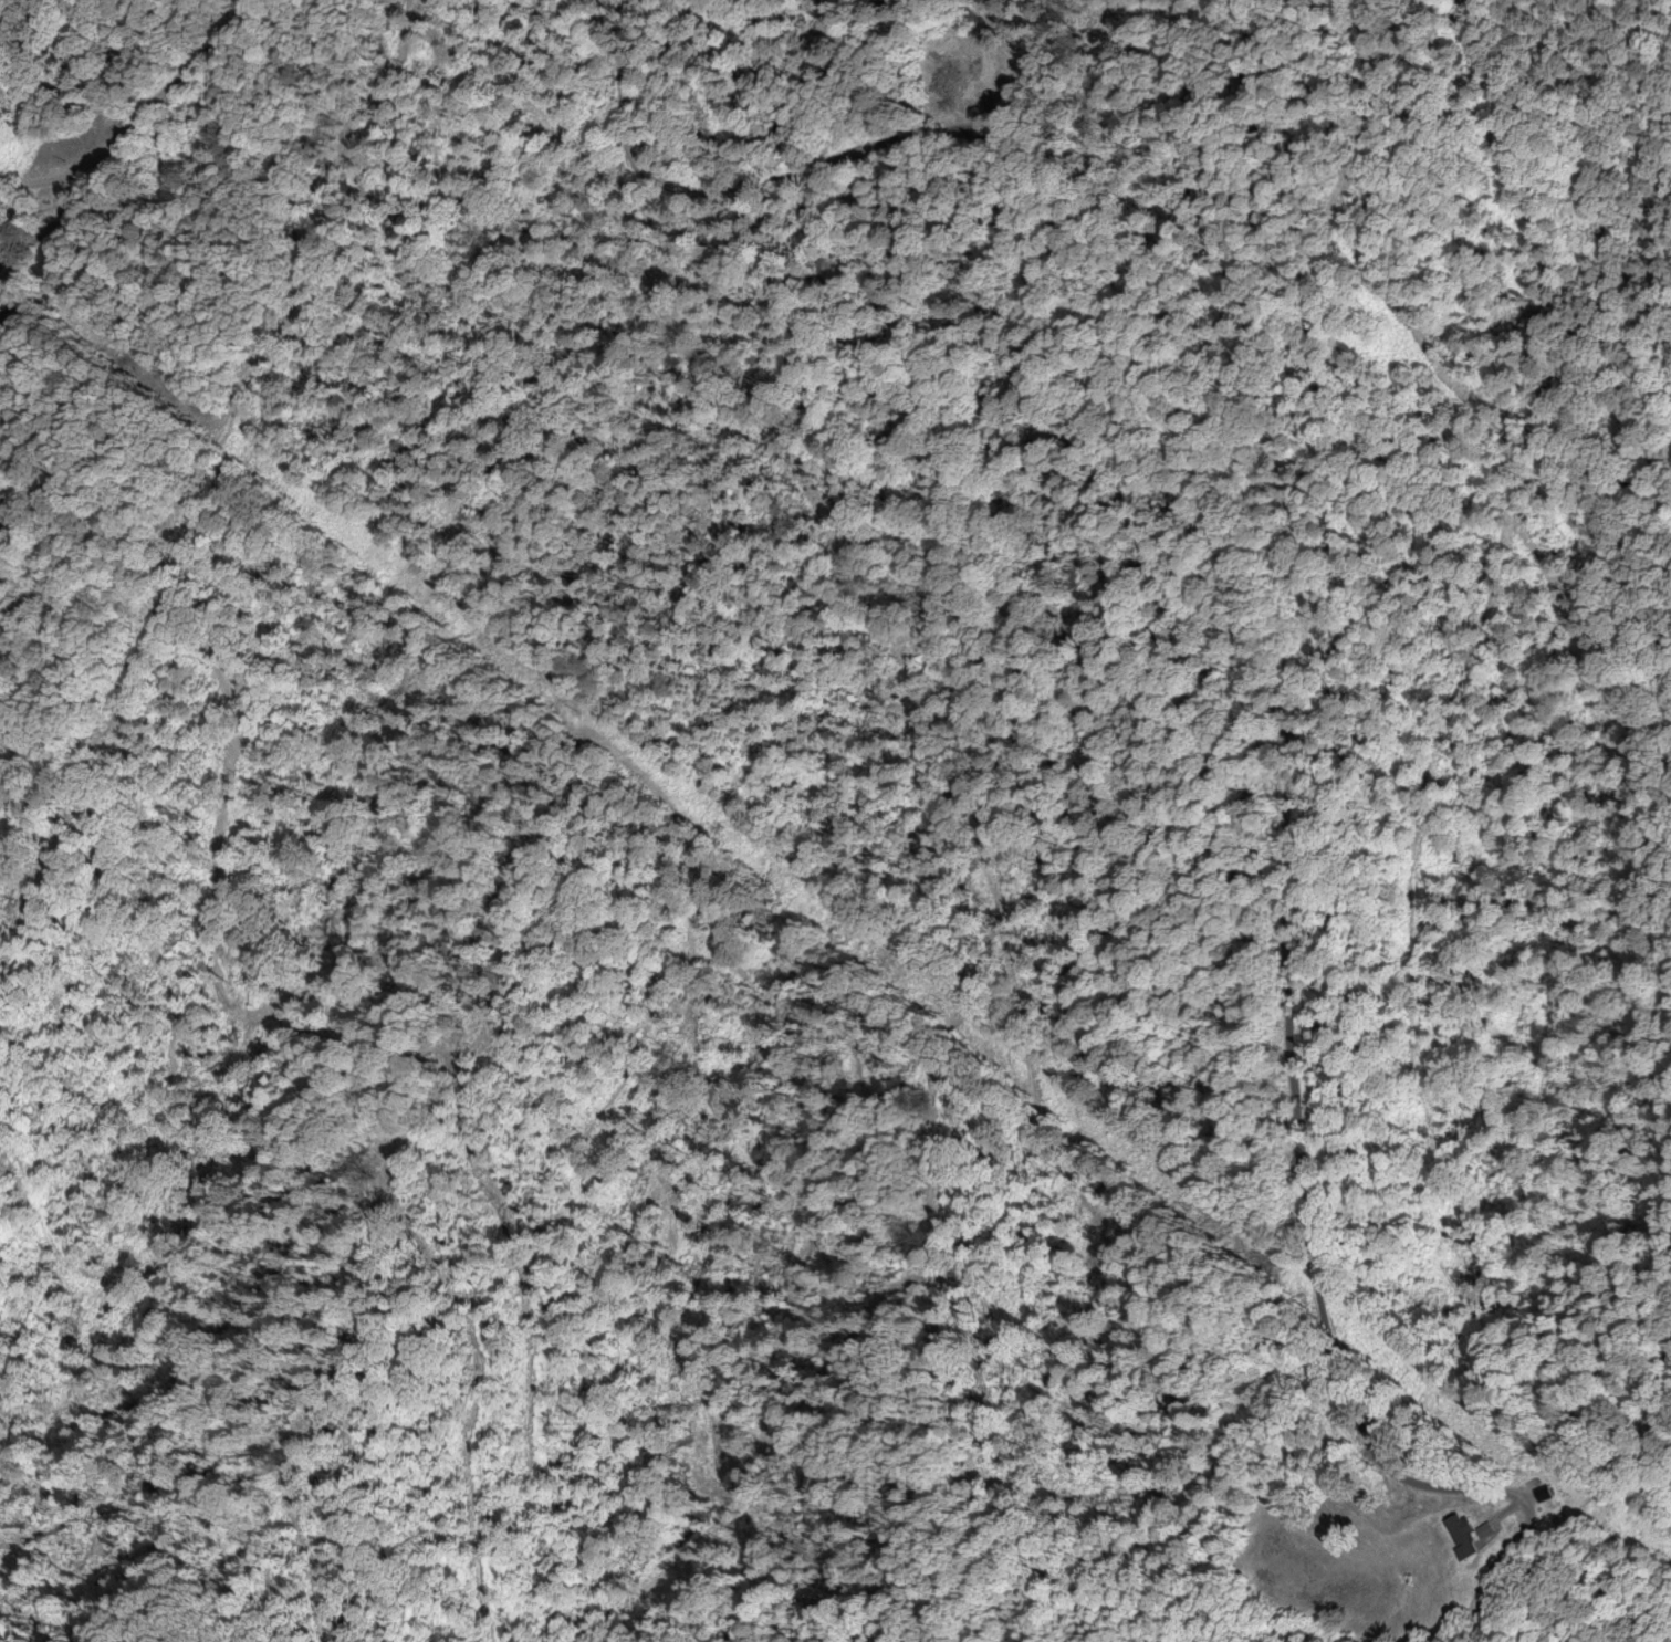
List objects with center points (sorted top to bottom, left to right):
road: (122, 104)
road: (1243, 671)
building: (1466, 1535)

